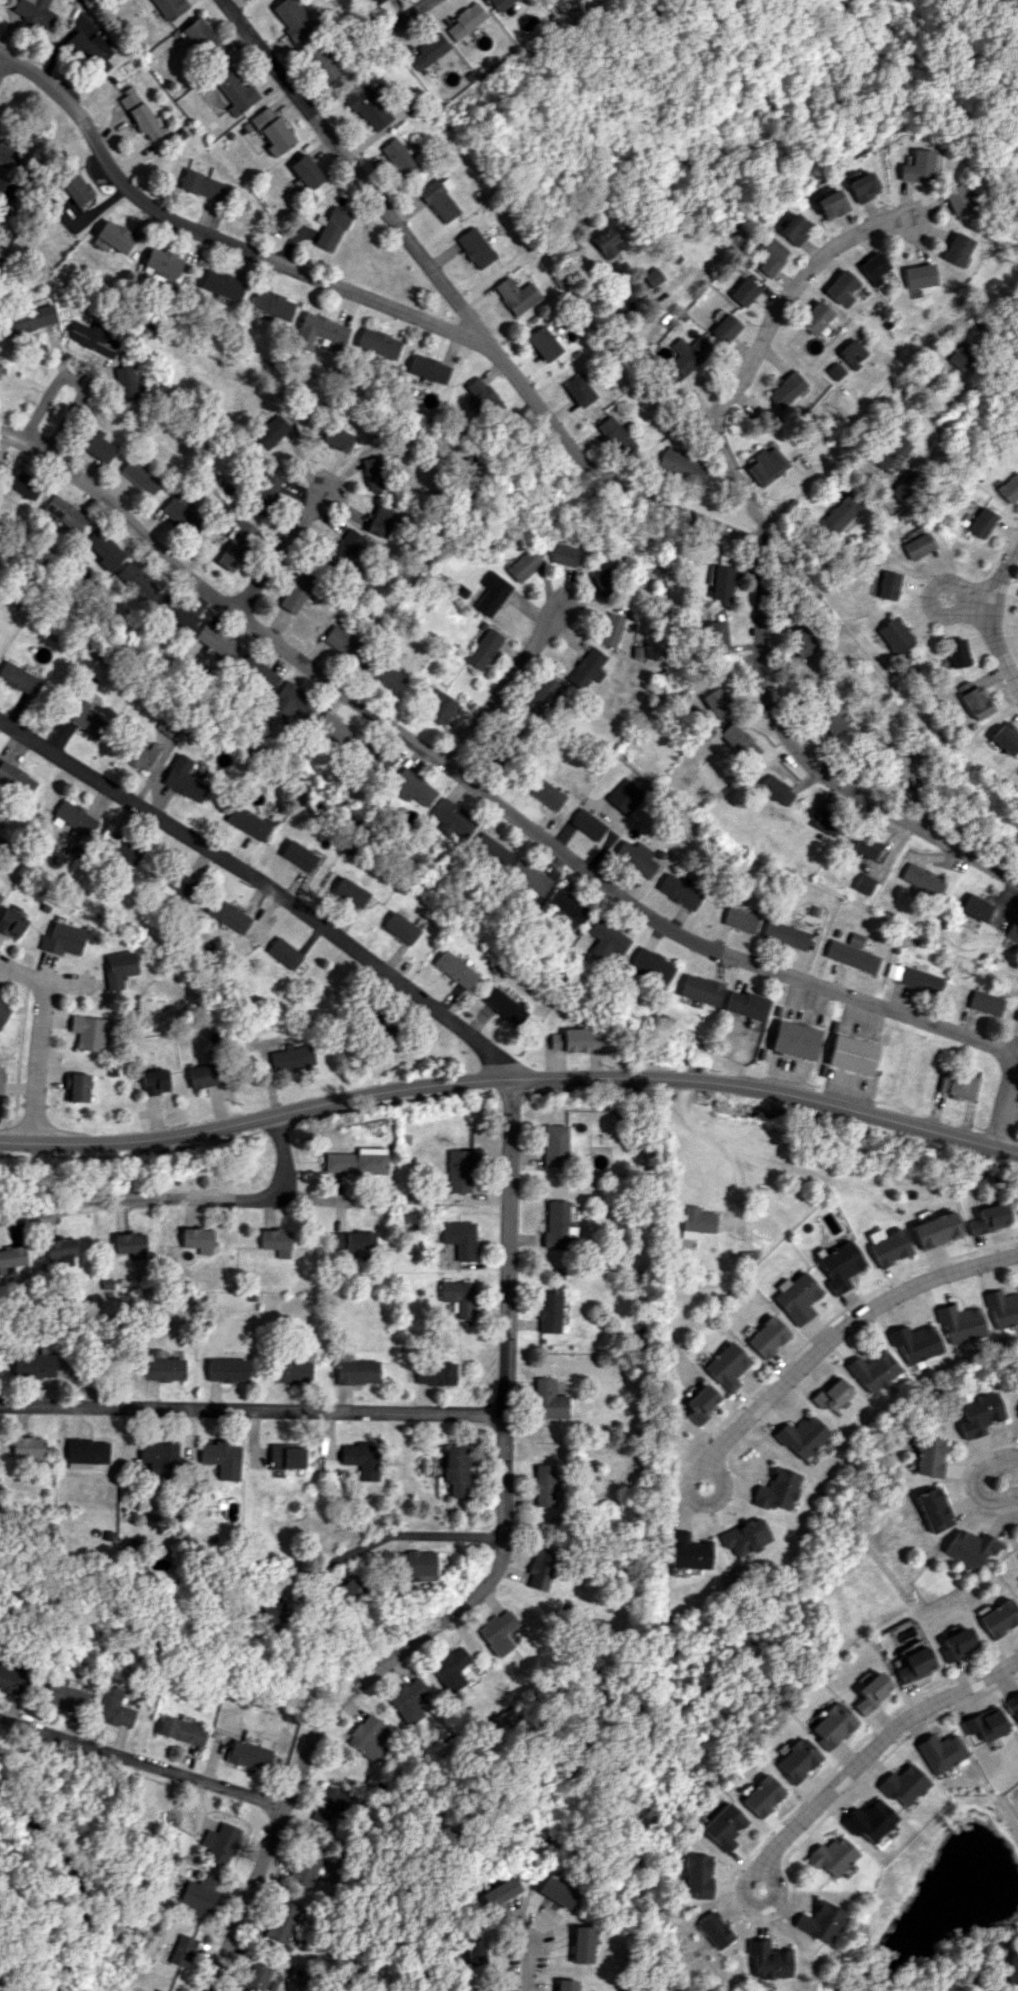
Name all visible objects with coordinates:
building: (376, 2)
building: (499, 4)
building: (168, 8)
building: (33, 13)
road: (412, 15)
building: (291, 19)
building: (465, 20)
building: (201, 39)
building: (92, 50)
building: (427, 52)
building: (322, 62)
building: (234, 91)
building: (366, 107)
building: (138, 113)
building: (272, 130)
building: (7, 155)
building: (398, 157)
building: (917, 166)
building: (306, 171)
building: (204, 186)
building: (861, 186)
building: (75, 188)
building: (57, 195)
building: (438, 199)
building: (956, 199)
building: (829, 204)
building: (331, 228)
building: (792, 229)
building: (114, 236)
road: (214, 242)
building: (605, 242)
building: (474, 247)
building: (956, 249)
building: (769, 255)
building: (162, 261)
building: (872, 268)
building: (918, 276)
building: (651, 277)
building: (221, 284)
building: (840, 288)
building: (743, 291)
building: (515, 295)
building: (271, 304)
road: (462, 311)
building: (814, 317)
building: (28, 319)
building: (724, 328)
building: (318, 330)
building: (93, 338)
building: (377, 343)
building: (543, 343)
road: (755, 349)
building: (850, 353)
building: (688, 354)
building: (960, 356)
road: (648, 364)
building: (426, 368)
building: (0, 369)
building: (833, 371)
road: (75, 375)
building: (125, 382)
building: (786, 389)
building: (578, 390)
building: (480, 395)
building: (269, 433)
building: (615, 435)
building: (337, 438)
building: (99, 447)
building: (890, 453)
building: (0, 461)
building: (679, 465)
building: (766, 465)
building: (373, 473)
building: (140, 476)
building: (22, 483)
building: (1008, 487)
building: (905, 488)
building: (265, 494)
building: (64, 512)
building: (181, 513)
building: (839, 513)
building: (380, 521)
building: (980, 522)
building: (235, 544)
building: (917, 545)
building: (344, 548)
building: (103, 549)
building: (565, 554)
road: (286, 555)
building: (525, 565)
building: (604, 580)
building: (136, 581)
building: (721, 582)
building: (887, 585)
building: (295, 591)
building: (492, 593)
road: (972, 601)
building: (175, 613)
road: (1000, 615)
building: (613, 628)
building: (716, 633)
building: (895, 635)
building: (215, 641)
building: (341, 641)
building: (799, 641)
building: (483, 649)
building: (958, 652)
road: (745, 653)
building: (587, 668)
building: (256, 671)
building: (386, 676)
building: (18, 678)
building: (963, 686)
road: (503, 690)
building: (539, 695)
building: (716, 702)
building: (975, 703)
building: (288, 704)
building: (439, 706)
building: (89, 720)
building: (830, 720)
building: (166, 728)
building: (331, 728)
building: (1005, 738)
building: (738, 742)
building: (140, 755)
building: (371, 758)
building: (903, 765)
building: (16, 779)
building: (182, 779)
building: (410, 787)
building: (776, 790)
building: (546, 793)
road: (479, 794)
building: (625, 795)
building: (74, 817)
building: (451, 818)
building: (246, 821)
building: (587, 823)
building: (826, 823)
building: (866, 846)
building: (124, 849)
building: (490, 850)
building: (297, 855)
building: (635, 857)
building: (529, 876)
building: (922, 879)
building: (175, 882)
building: (864, 883)
road: (264, 888)
building: (349, 891)
building: (679, 891)
building: (567, 906)
building: (976, 907)
building: (227, 914)
building: (740, 919)
building: (10, 923)
building: (399, 927)
building: (836, 932)
building: (785, 934)
building: (1011, 935)
building: (605, 938)
building: (62, 939)
building: (856, 939)
building: (896, 949)
building: (284, 952)
building: (852, 955)
building: (652, 963)
building: (117, 968)
building: (453, 969)
building: (920, 979)
road: (43, 980)
building: (699, 989)
building: (985, 1002)
building: (744, 1005)
building: (503, 1006)
building: (3, 1012)
building: (1017, 1018)
building: (379, 1025)
building: (88, 1032)
building: (795, 1039)
building: (574, 1040)
building: (852, 1054)
building: (291, 1057)
road: (38, 1062)
building: (202, 1075)
building: (1, 1078)
building: (154, 1081)
building: (957, 1084)
road: (511, 1086)
building: (77, 1087)
road: (1010, 1106)
building: (553, 1145)
road: (722, 1148)
building: (355, 1161)
building: (459, 1171)
road: (178, 1198)
building: (987, 1218)
building: (695, 1221)
building: (554, 1224)
building: (935, 1229)
building: (459, 1238)
building: (197, 1239)
building: (352, 1241)
building: (276, 1242)
building: (130, 1244)
building: (887, 1245)
building: (61, 1250)
building: (11, 1257)
building: (840, 1266)
building: (458, 1297)
building: (796, 1297)
building: (1002, 1309)
building: (547, 1312)
building: (959, 1323)
road: (847, 1326)
building: (767, 1336)
building: (914, 1342)
building: (32, 1365)
building: (161, 1366)
building: (726, 1366)
building: (227, 1369)
building: (355, 1369)
building: (291, 1371)
building: (872, 1371)
building: (434, 1373)
building: (830, 1394)
building: (547, 1399)
building: (701, 1403)
road: (254, 1414)
building: (977, 1414)
building: (801, 1436)
building: (27, 1447)
building: (85, 1452)
building: (285, 1456)
building: (927, 1456)
building: (159, 1457)
building: (221, 1458)
building: (361, 1458)
building: (456, 1470)
road: (974, 1482)
building: (542, 1485)
building: (776, 1489)
road: (700, 1503)
building: (932, 1509)
building: (743, 1538)
road: (408, 1539)
building: (969, 1548)
building: (686, 1550)
building: (414, 1564)
building: (539, 1567)
road: (489, 1587)
building: (348, 1589)
building: (272, 1612)
building: (998, 1618)
building: (497, 1632)
building: (955, 1644)
building: (912, 1665)
building: (450, 1668)
building: (11, 1680)
building: (870, 1692)
building: (65, 1696)
building: (408, 1700)
building: (1011, 1704)
building: (113, 1707)
building: (985, 1724)
building: (831, 1725)
building: (181, 1730)
building: (366, 1737)
road: (876, 1746)
building: (940, 1752)
building: (248, 1754)
building: (797, 1760)
road: (141, 1761)
building: (903, 1784)
building: (762, 1796)
building: (331, 1803)
building: (870, 1820)
building: (724, 1826)
building: (219, 1843)
building: (832, 1856)
building: (307, 1864)
building: (698, 1875)
road: (75, 1882)
building: (498, 1892)
building: (554, 1892)
road: (743, 1892)
building: (199, 1894)
building: (282, 1921)
building: (819, 1921)
building: (715, 1930)
building: (581, 1944)
building: (182, 1950)
building: (472, 1952)
building: (769, 1959)
building: (1013, 1969)
road: (531, 1974)
building: (253, 1979)
building: (565, 1985)
building: (157, 1990)

